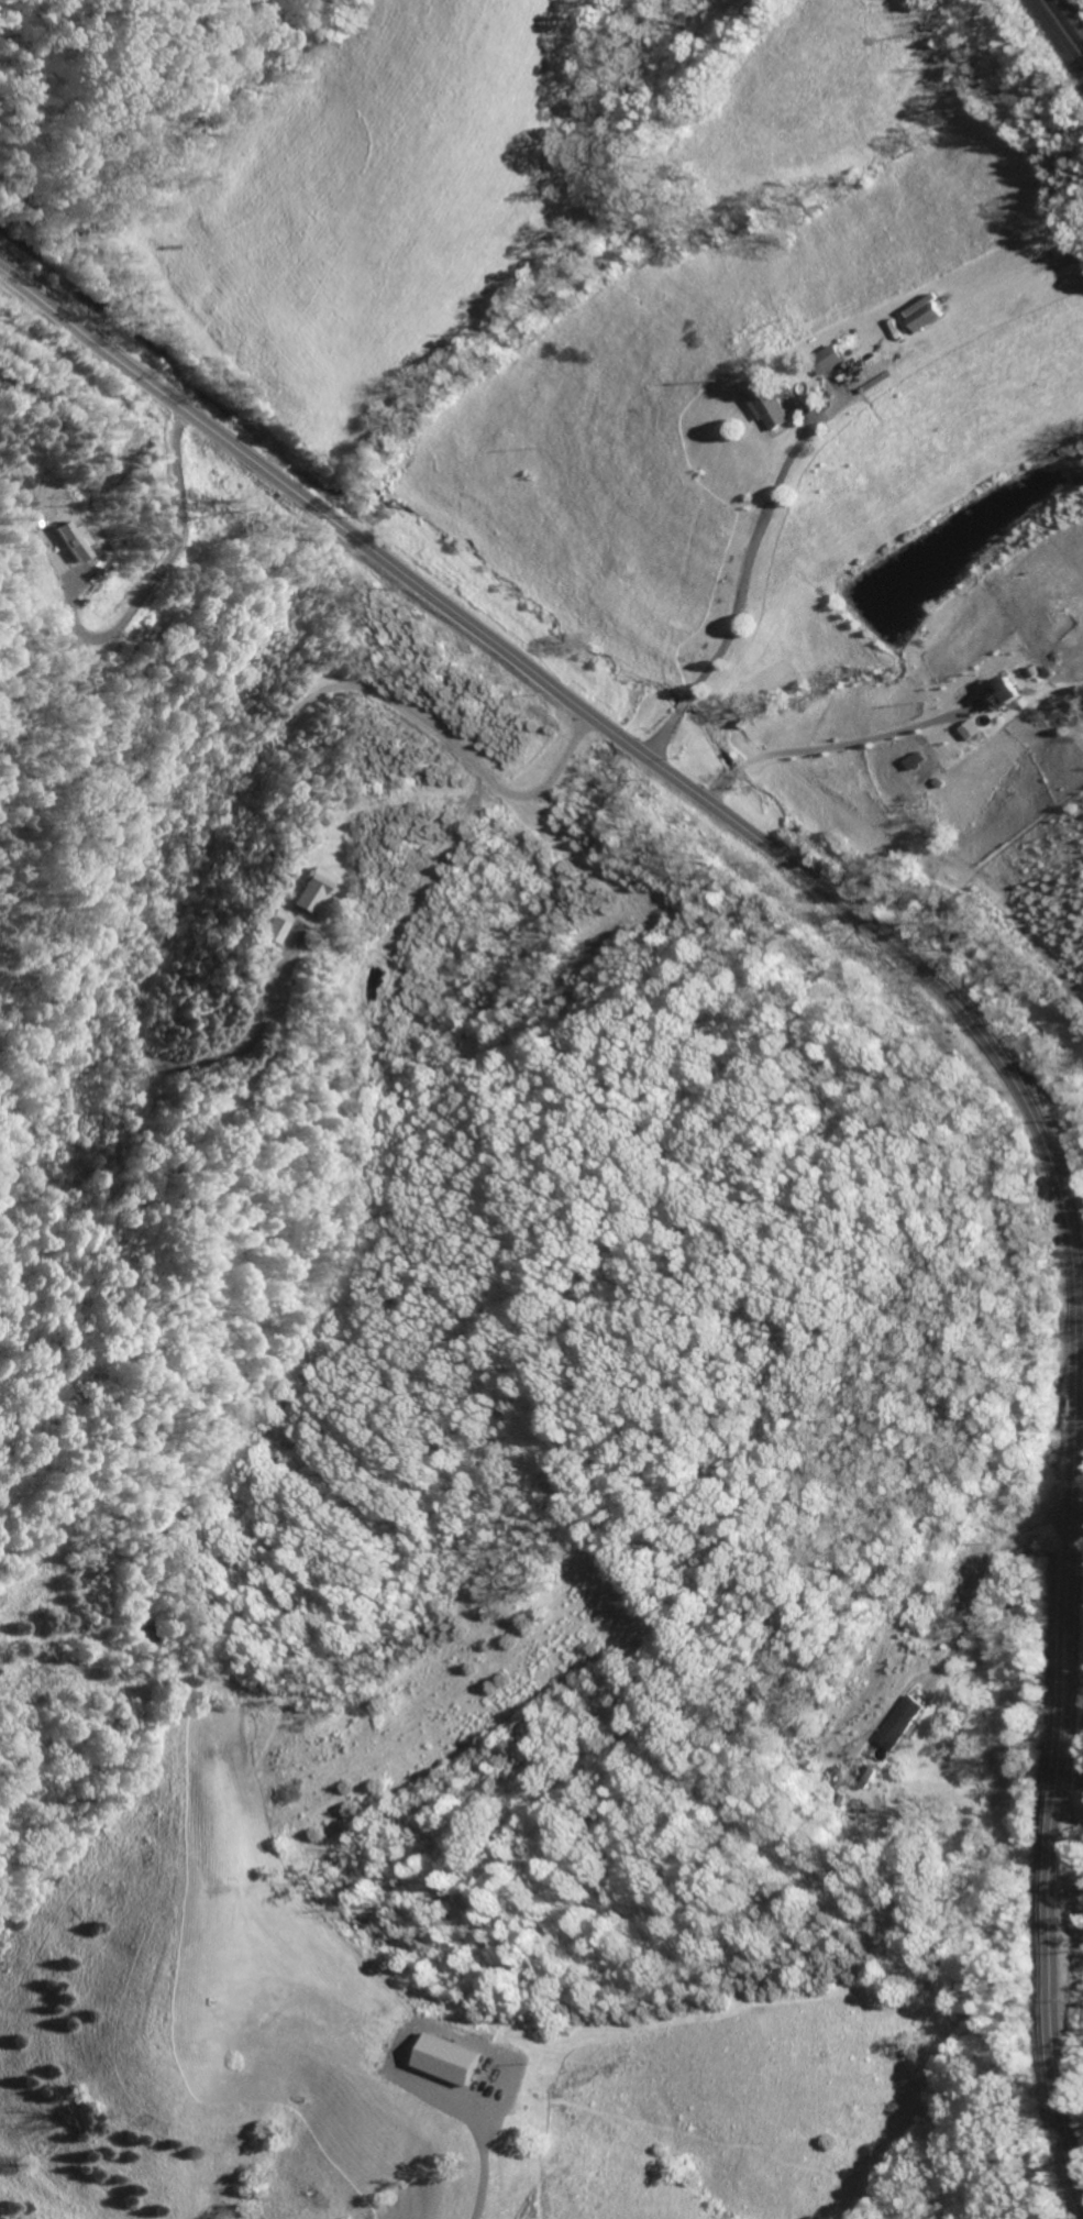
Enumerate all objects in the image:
railway: (1069, 19)
railway: (1063, 28)
road: (1, 271)
building: (931, 312)
building: (837, 358)
building: (771, 404)
road: (766, 530)
building: (1005, 693)
road: (681, 705)
building: (974, 729)
road: (661, 737)
building: (918, 760)
road: (240, 791)
building: (305, 890)
building: (272, 927)
road: (957, 1004)
building: (903, 1723)
building: (450, 2057)
road: (488, 2166)

